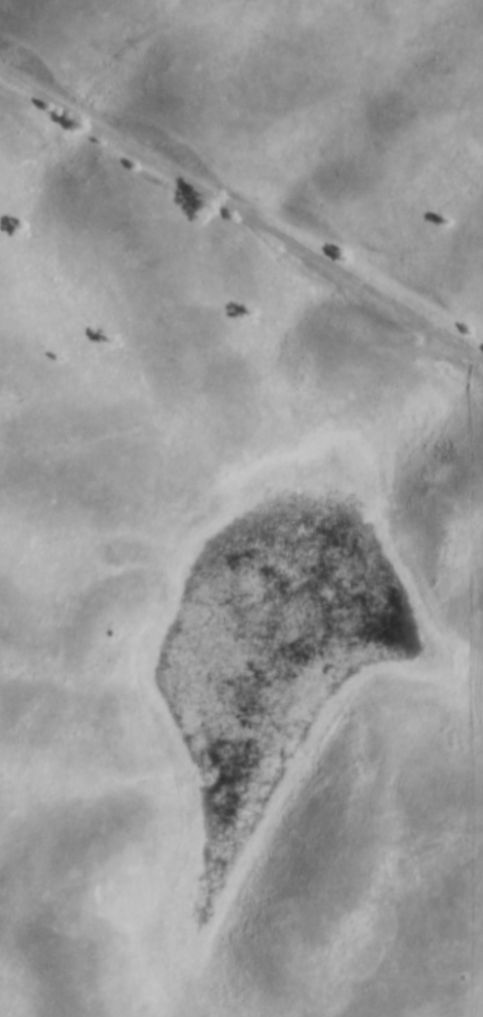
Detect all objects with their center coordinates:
road: (241, 213)

